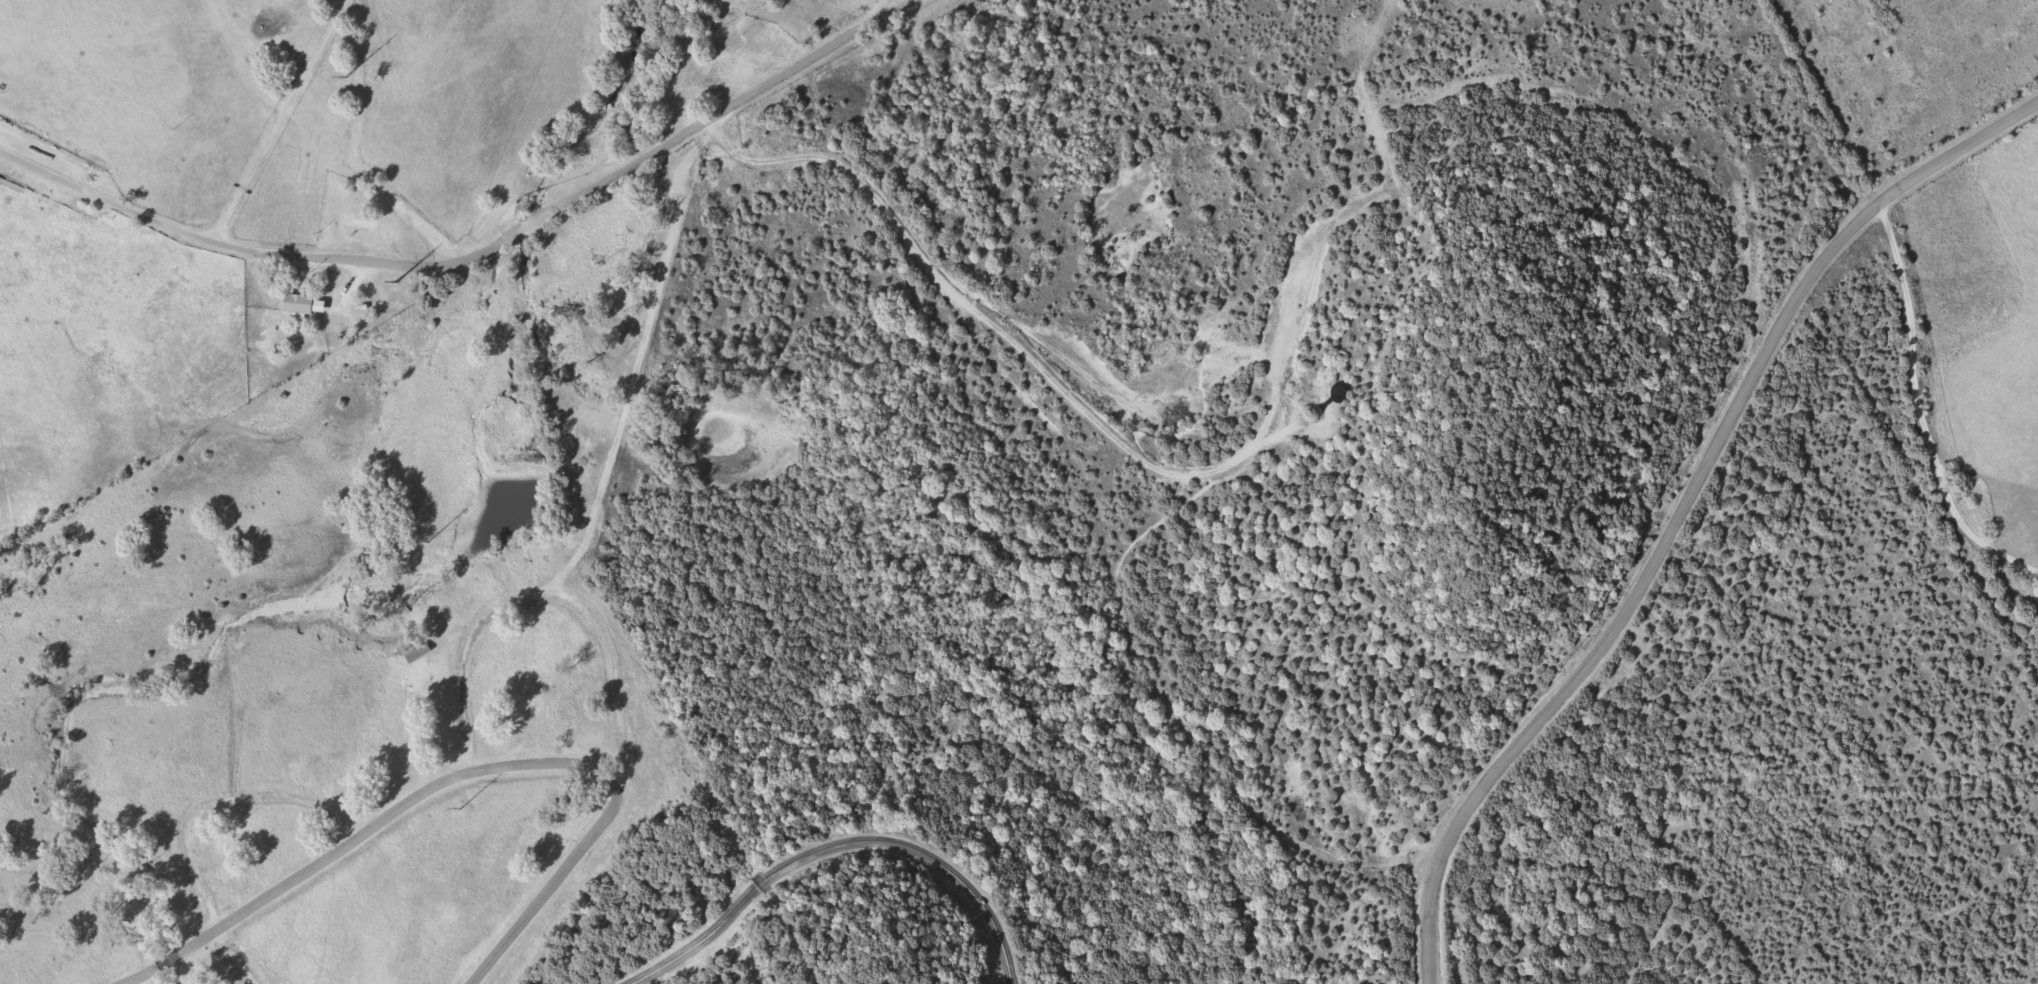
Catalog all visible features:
building: (762, 50)
building: (692, 74)
road: (281, 120)
road: (1395, 182)
building: (360, 224)
road: (477, 255)
building: (300, 305)
road: (634, 360)
road: (1276, 385)
road: (1076, 403)
road: (1918, 408)
road: (1087, 493)
road: (1676, 506)
road: (465, 648)
road: (836, 843)
road: (278, 893)
road: (167, 960)
road: (134, 975)

